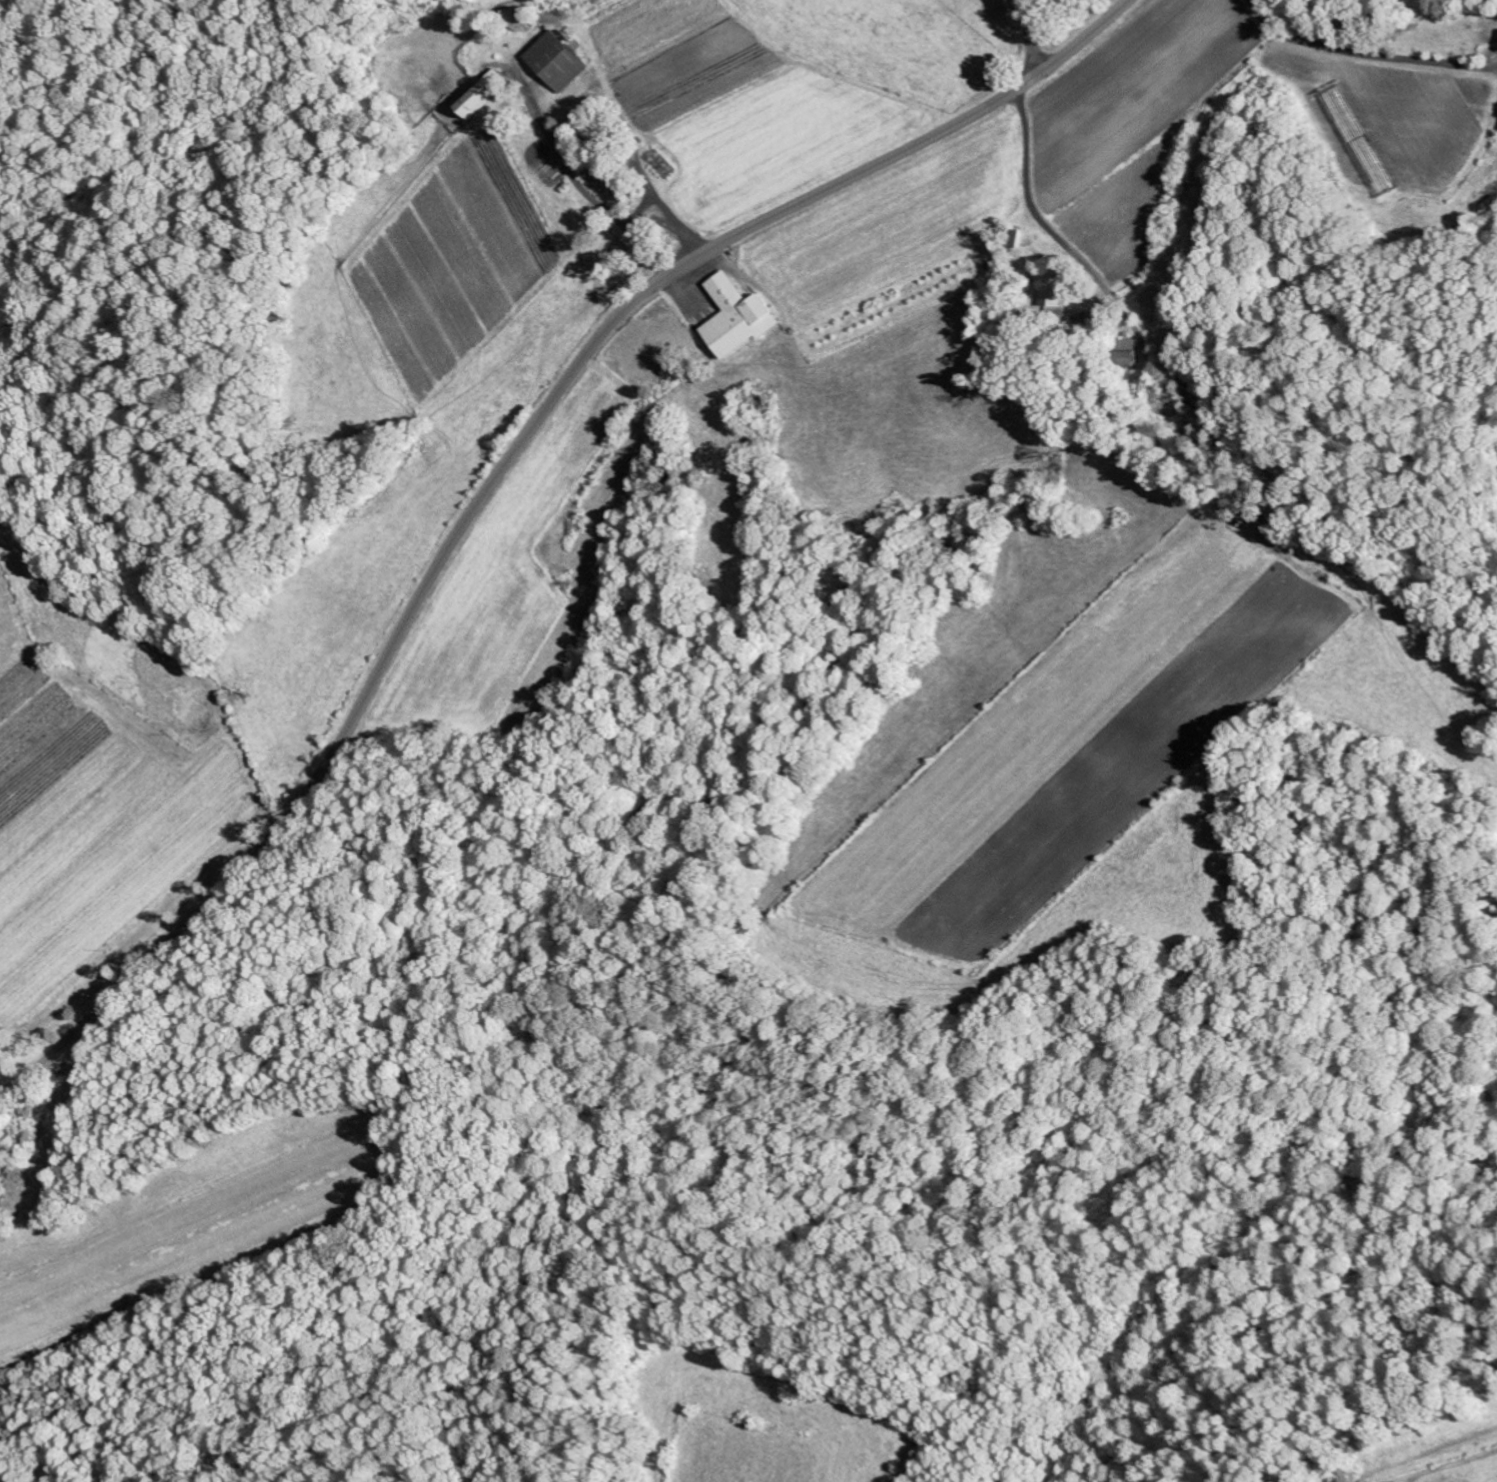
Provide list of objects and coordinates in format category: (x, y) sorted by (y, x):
road: (1043, 33)
building: (557, 60)
building: (483, 92)
building: (624, 198)
building: (1050, 293)
road: (1151, 300)
building: (738, 316)
building: (1132, 358)
road: (495, 476)

